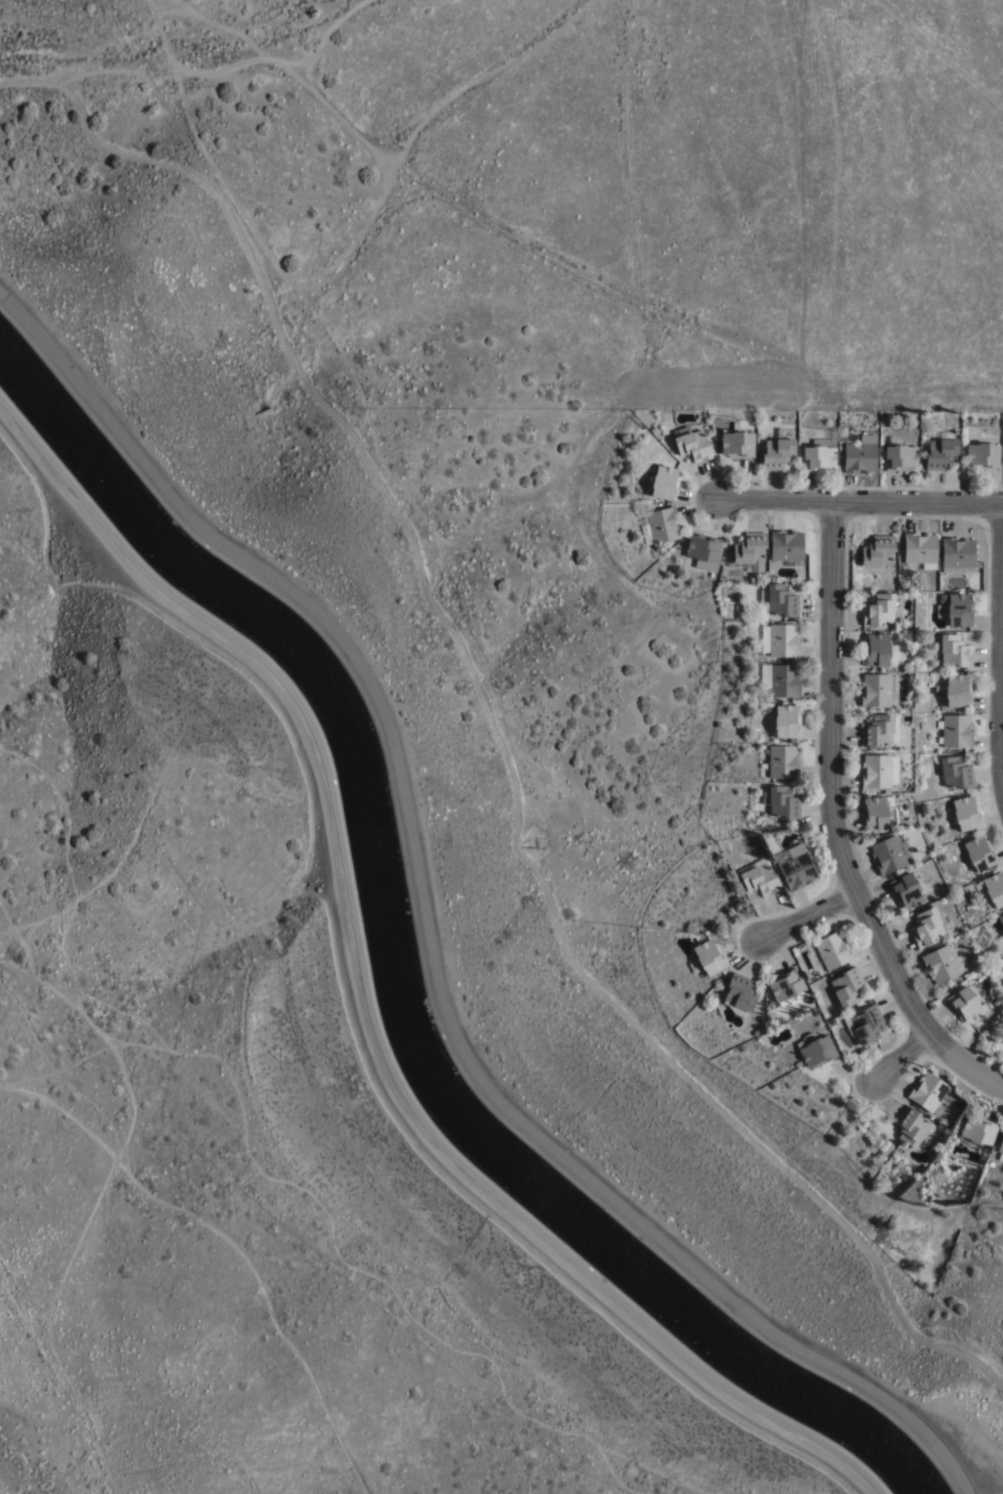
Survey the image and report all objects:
building: (737, 444)
building: (693, 446)
building: (941, 451)
building: (777, 453)
building: (982, 456)
building: (859, 457)
building: (818, 458)
building: (900, 458)
building: (664, 483)
road: (858, 506)
building: (659, 526)
building: (786, 546)
building: (704, 551)
building: (919, 551)
building: (876, 552)
building: (749, 553)
building: (956, 556)
building: (777, 601)
building: (878, 610)
building: (956, 610)
building: (780, 640)
building: (878, 652)
building: (954, 652)
building: (781, 680)
building: (878, 691)
building: (954, 693)
building: (787, 722)
building: (954, 732)
building: (879, 733)
road: (1001, 735)
building: (782, 763)
building: (879, 772)
building: (955, 774)
building: (781, 803)
building: (877, 814)
building: (966, 815)
road: (833, 827)
building: (979, 855)
building: (887, 857)
building: (794, 866)
building: (758, 879)
building: (994, 891)
building: (904, 893)
building: (975, 905)
road: (808, 919)
building: (994, 924)
building: (927, 929)
building: (1000, 929)
road: (428, 936)
building: (832, 952)
building: (707, 961)
building: (939, 966)
building: (982, 987)
building: (786, 989)
building: (848, 989)
building: (741, 994)
road: (362, 1001)
building: (967, 1008)
building: (865, 1028)
building: (818, 1054)
road: (900, 1059)
building: (927, 1089)
building: (913, 1127)
building: (977, 1130)
building: (1001, 1148)
road: (232, 1241)
road: (78, 1244)
road: (63, 1379)

